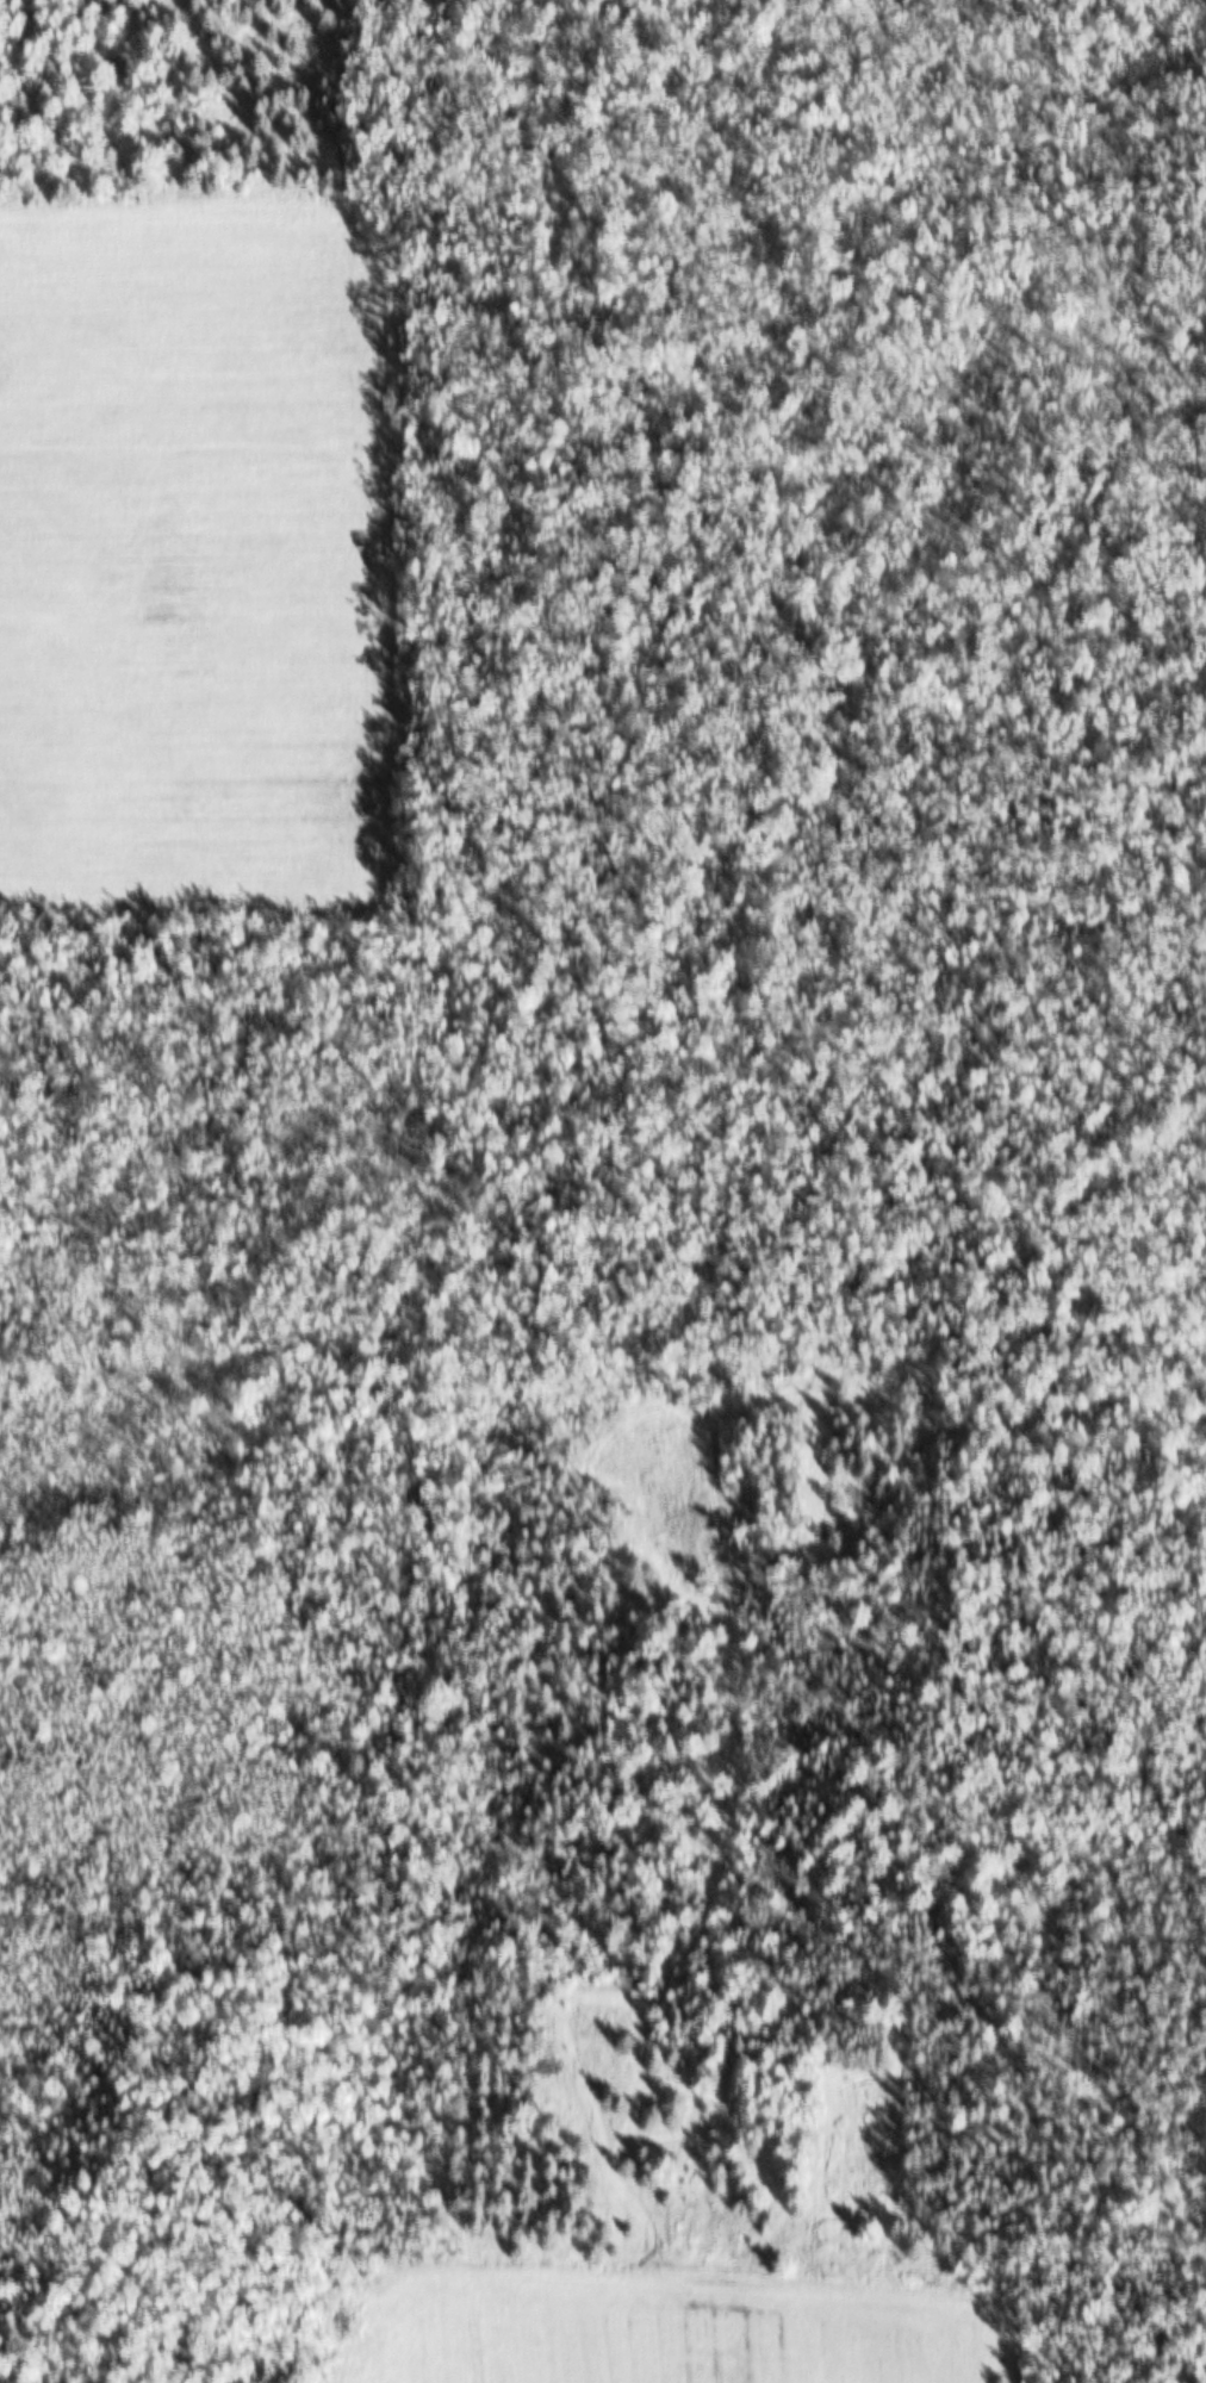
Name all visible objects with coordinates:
building: (113, 70)

